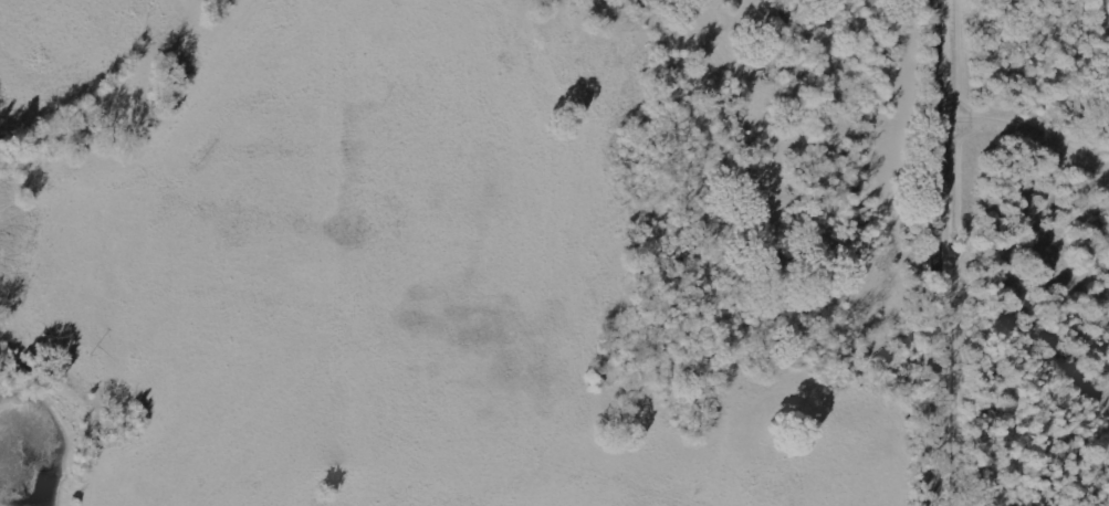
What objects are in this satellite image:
road: (937, 252)

